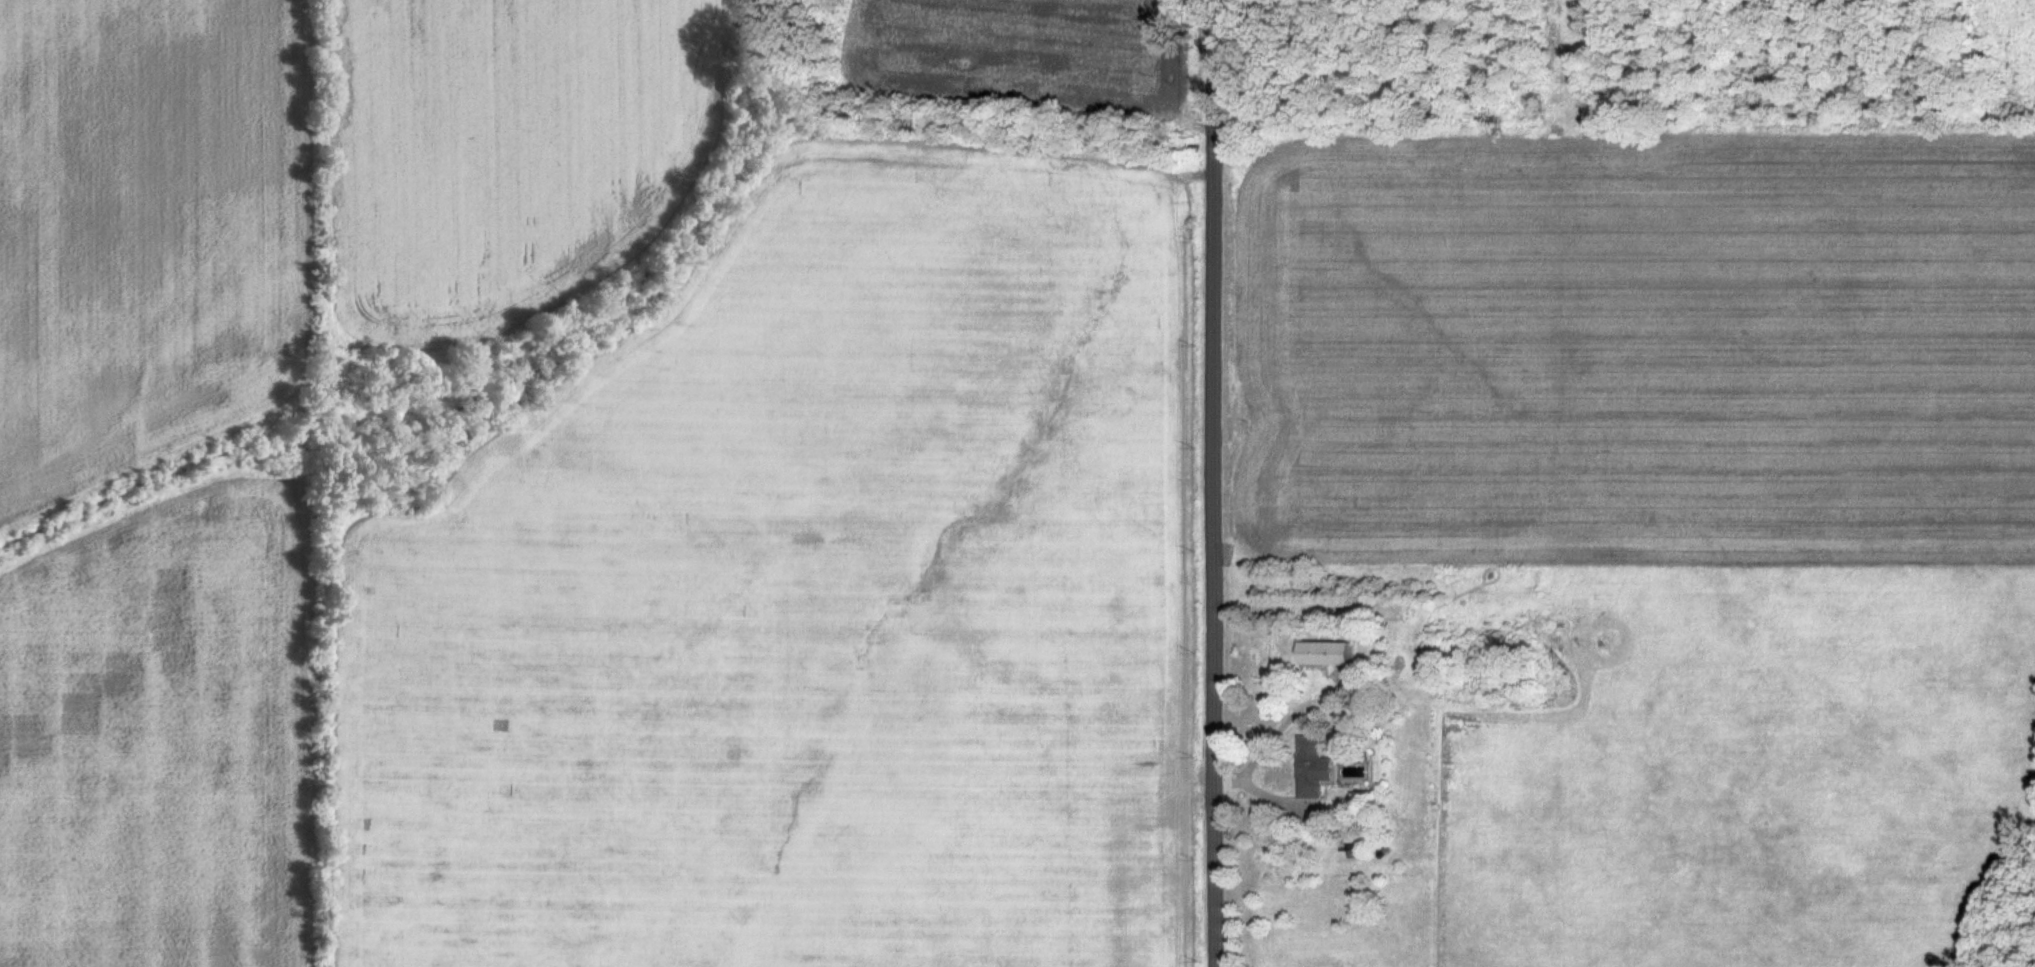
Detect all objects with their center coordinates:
road: (1213, 483)
building: (1323, 651)
building: (1312, 766)

